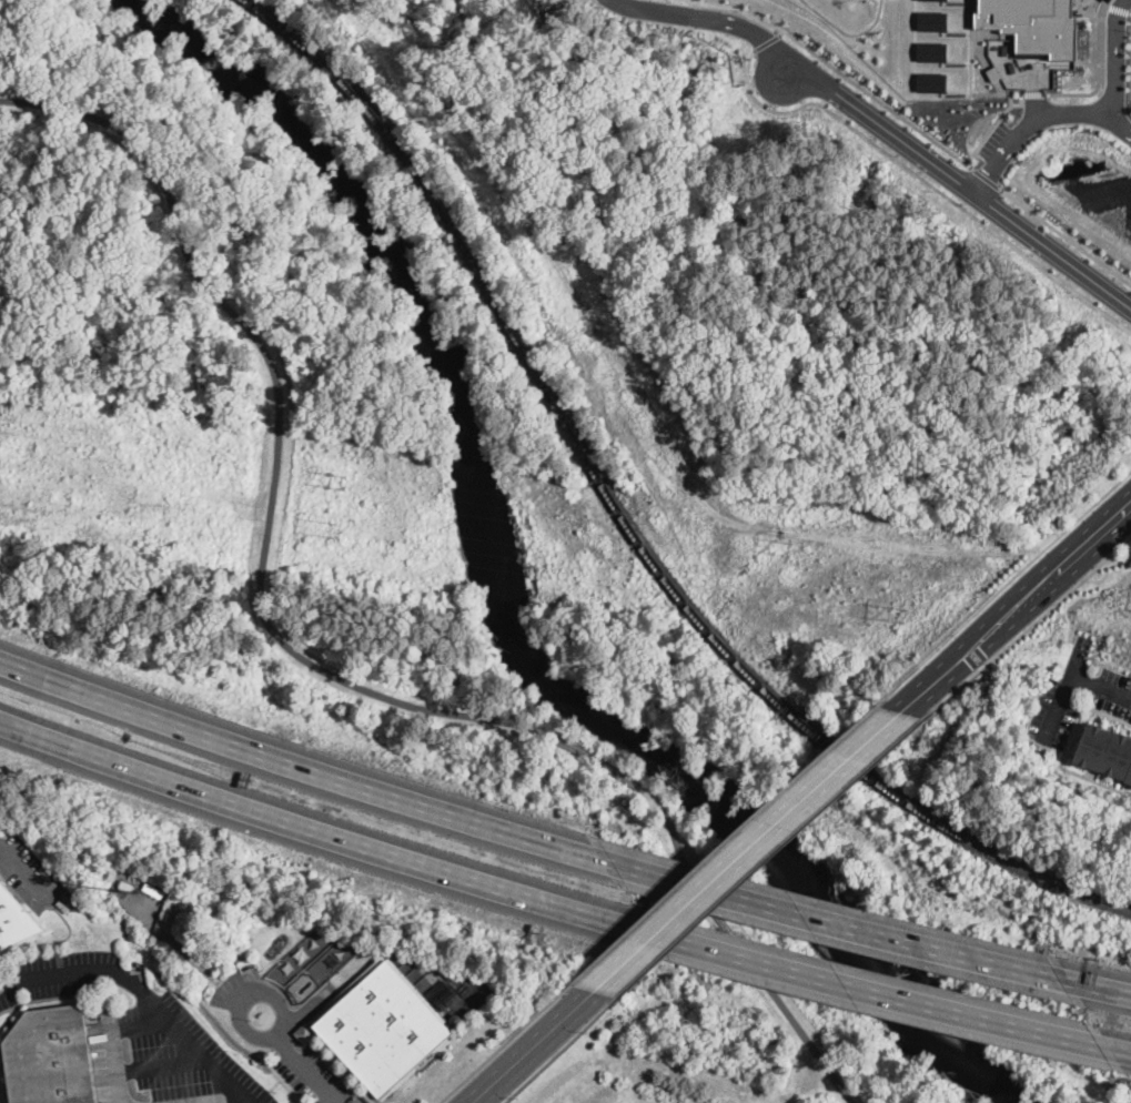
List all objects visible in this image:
road: (1104, 4)
road: (1117, 8)
road: (1129, 11)
road: (706, 16)
building: (932, 20)
building: (1033, 24)
road: (848, 31)
building: (931, 50)
road: (1113, 60)
road: (1098, 68)
road: (970, 71)
building: (931, 81)
road: (1033, 92)
road: (889, 107)
road: (1038, 119)
road: (993, 123)
park: (33, 163)
road: (986, 178)
road: (960, 183)
road: (940, 191)
road: (1066, 235)
park: (261, 418)
power tower: (345, 478)
park: (534, 503)
power tower: (332, 526)
power tower: (789, 546)
road: (1048, 578)
road: (1008, 580)
power tower: (901, 610)
road: (1043, 614)
road: (313, 670)
road: (935, 684)
road: (1100, 687)
road: (1063, 690)
building: (1107, 750)
road: (301, 761)
road: (312, 830)
road: (731, 839)
road: (750, 853)
road: (24, 869)
building: (127, 884)
building: (154, 888)
building: (14, 920)
road: (834, 921)
road: (1098, 986)
road: (874, 991)
road: (143, 994)
building: (455, 1019)
park: (1119, 1022)
building: (382, 1025)
building: (306, 1033)
road: (110, 1038)
road: (504, 1042)
road: (535, 1049)
road: (561, 1049)
road: (1125, 1052)
building: (50, 1058)
road: (300, 1059)
road: (159, 1065)
park: (908, 1086)
building: (367, 1096)
road: (220, 1100)
building: (107, 1102)

